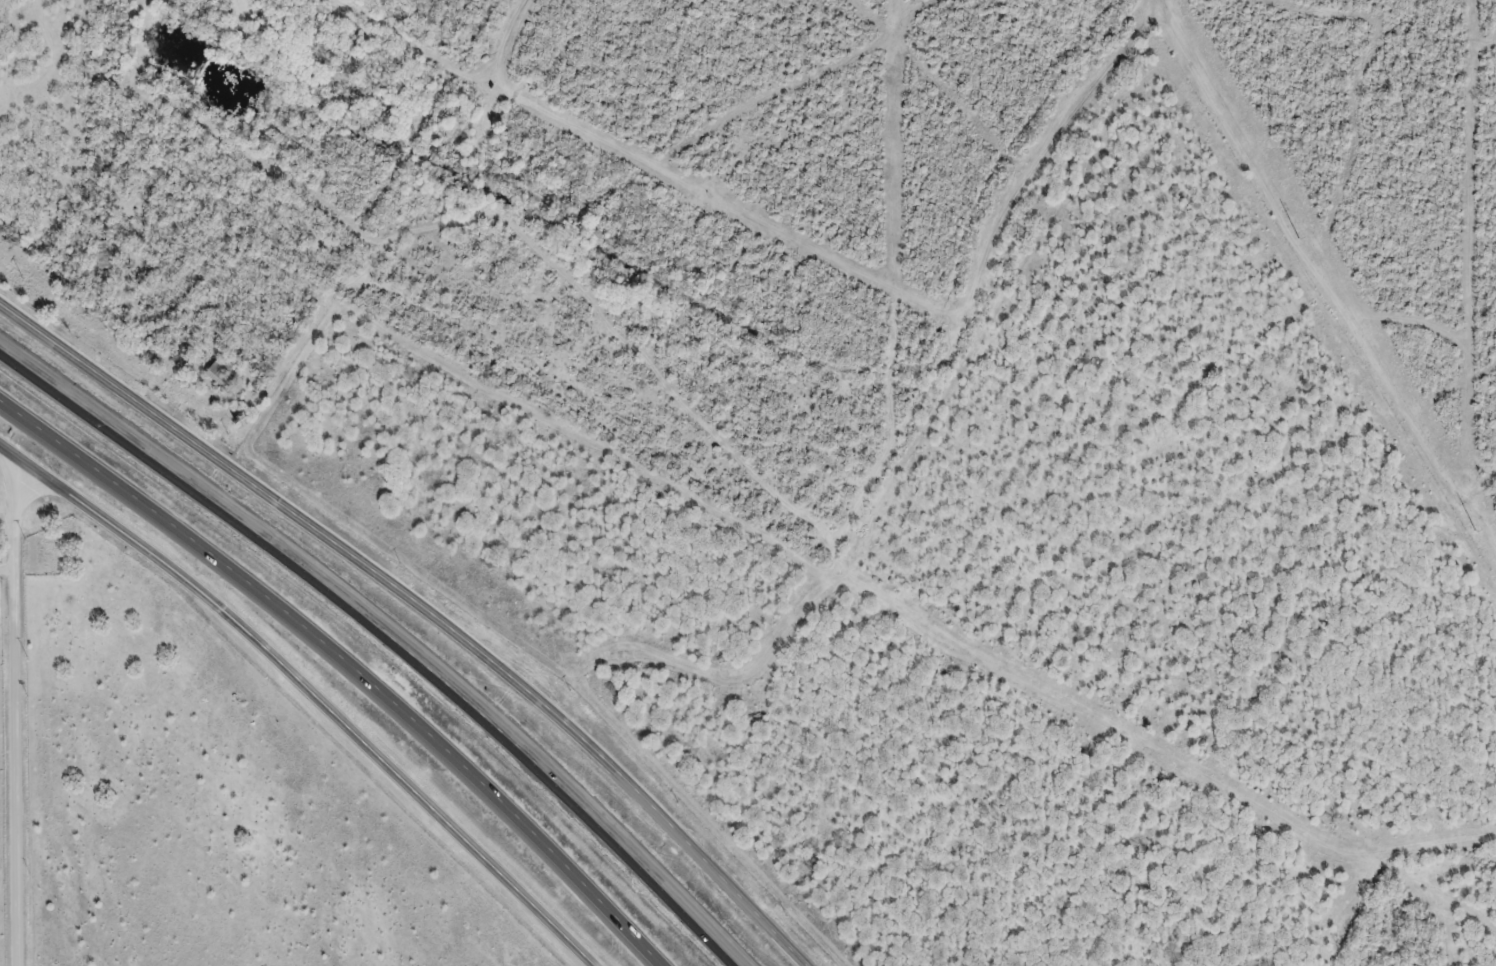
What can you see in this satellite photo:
power tower: (1296, 235)
power tower: (1471, 528)
road: (6, 572)
road: (425, 612)
road: (385, 637)
road: (343, 671)
road: (303, 691)
road: (17, 712)

